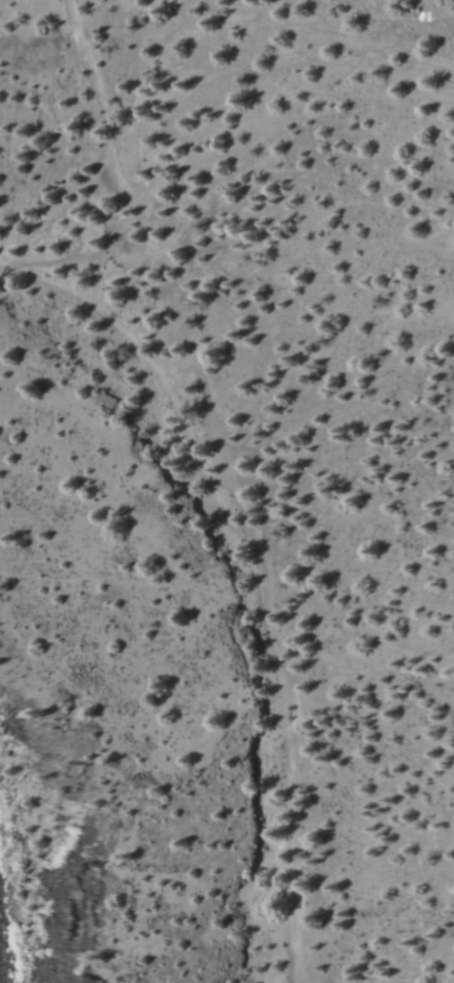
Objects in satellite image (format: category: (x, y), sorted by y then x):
road: (143, 235)
road: (259, 568)

